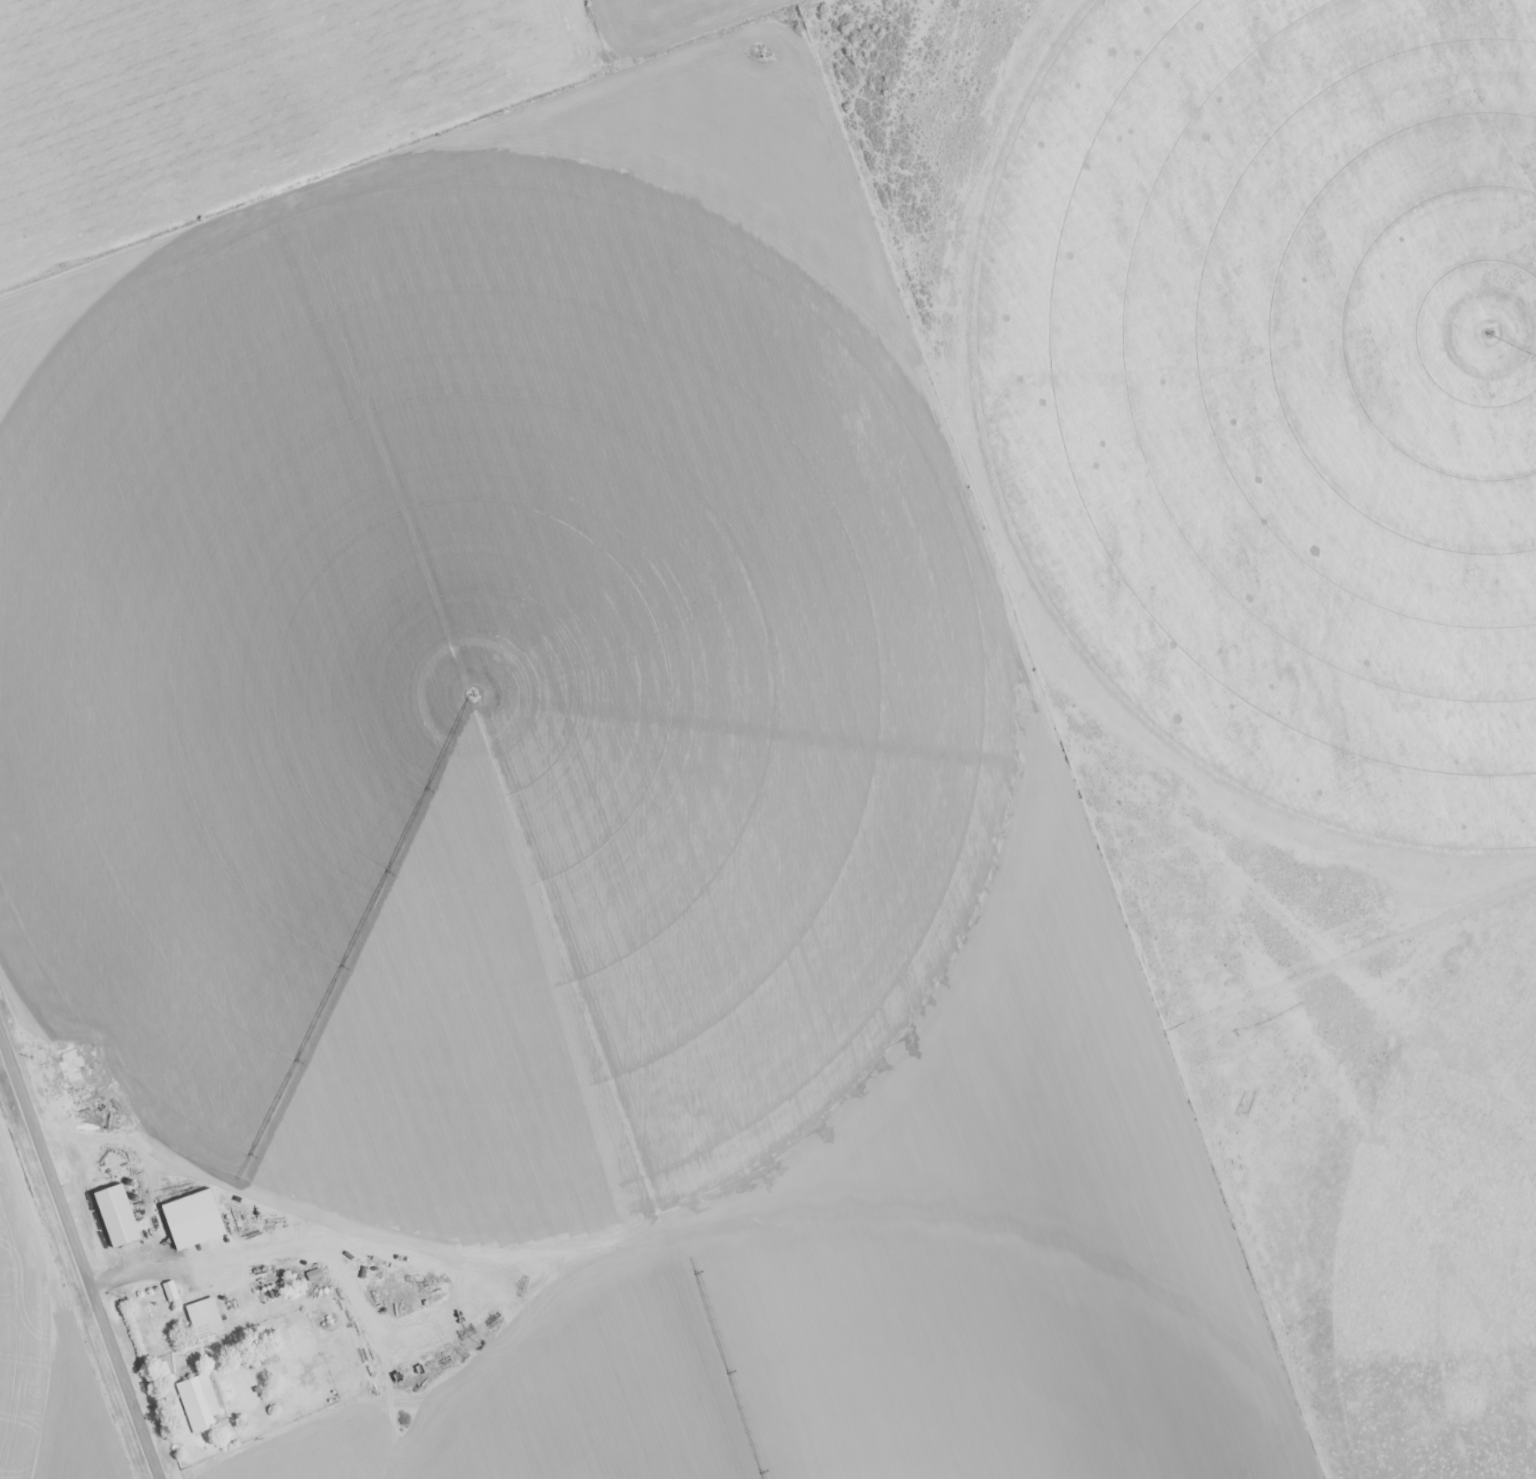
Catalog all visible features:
building: (509, 1005)
building: (569, 1076)
building: (113, 1216)
building: (188, 1220)
road: (80, 1254)
building: (201, 1318)
building: (196, 1403)

